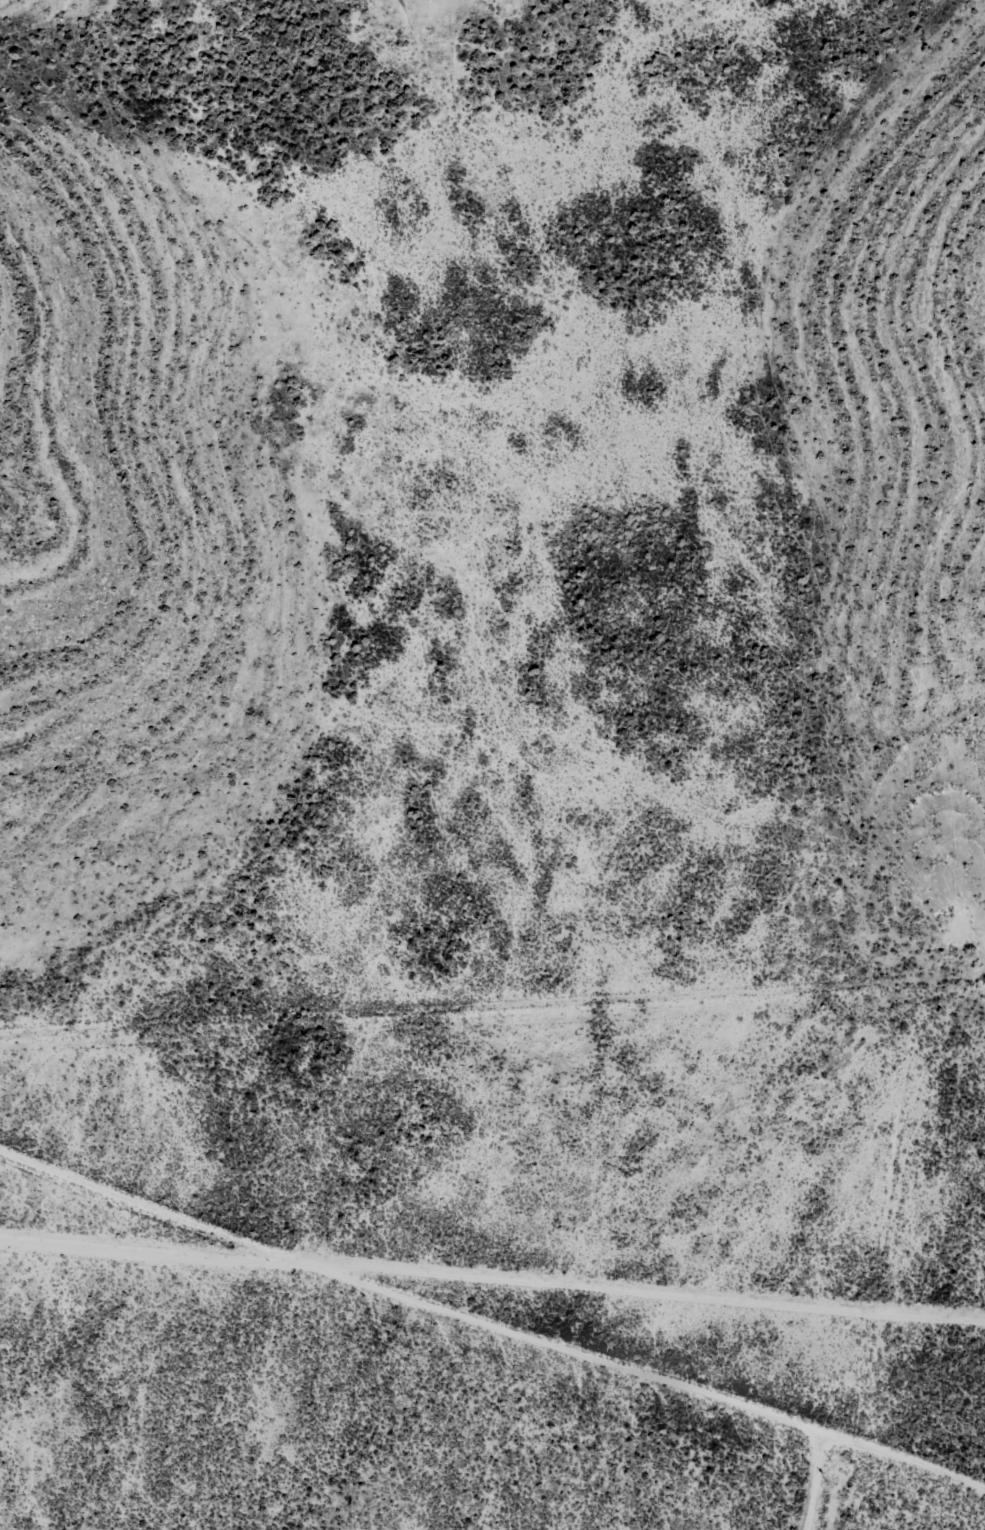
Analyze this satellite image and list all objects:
road: (491, 1330)

